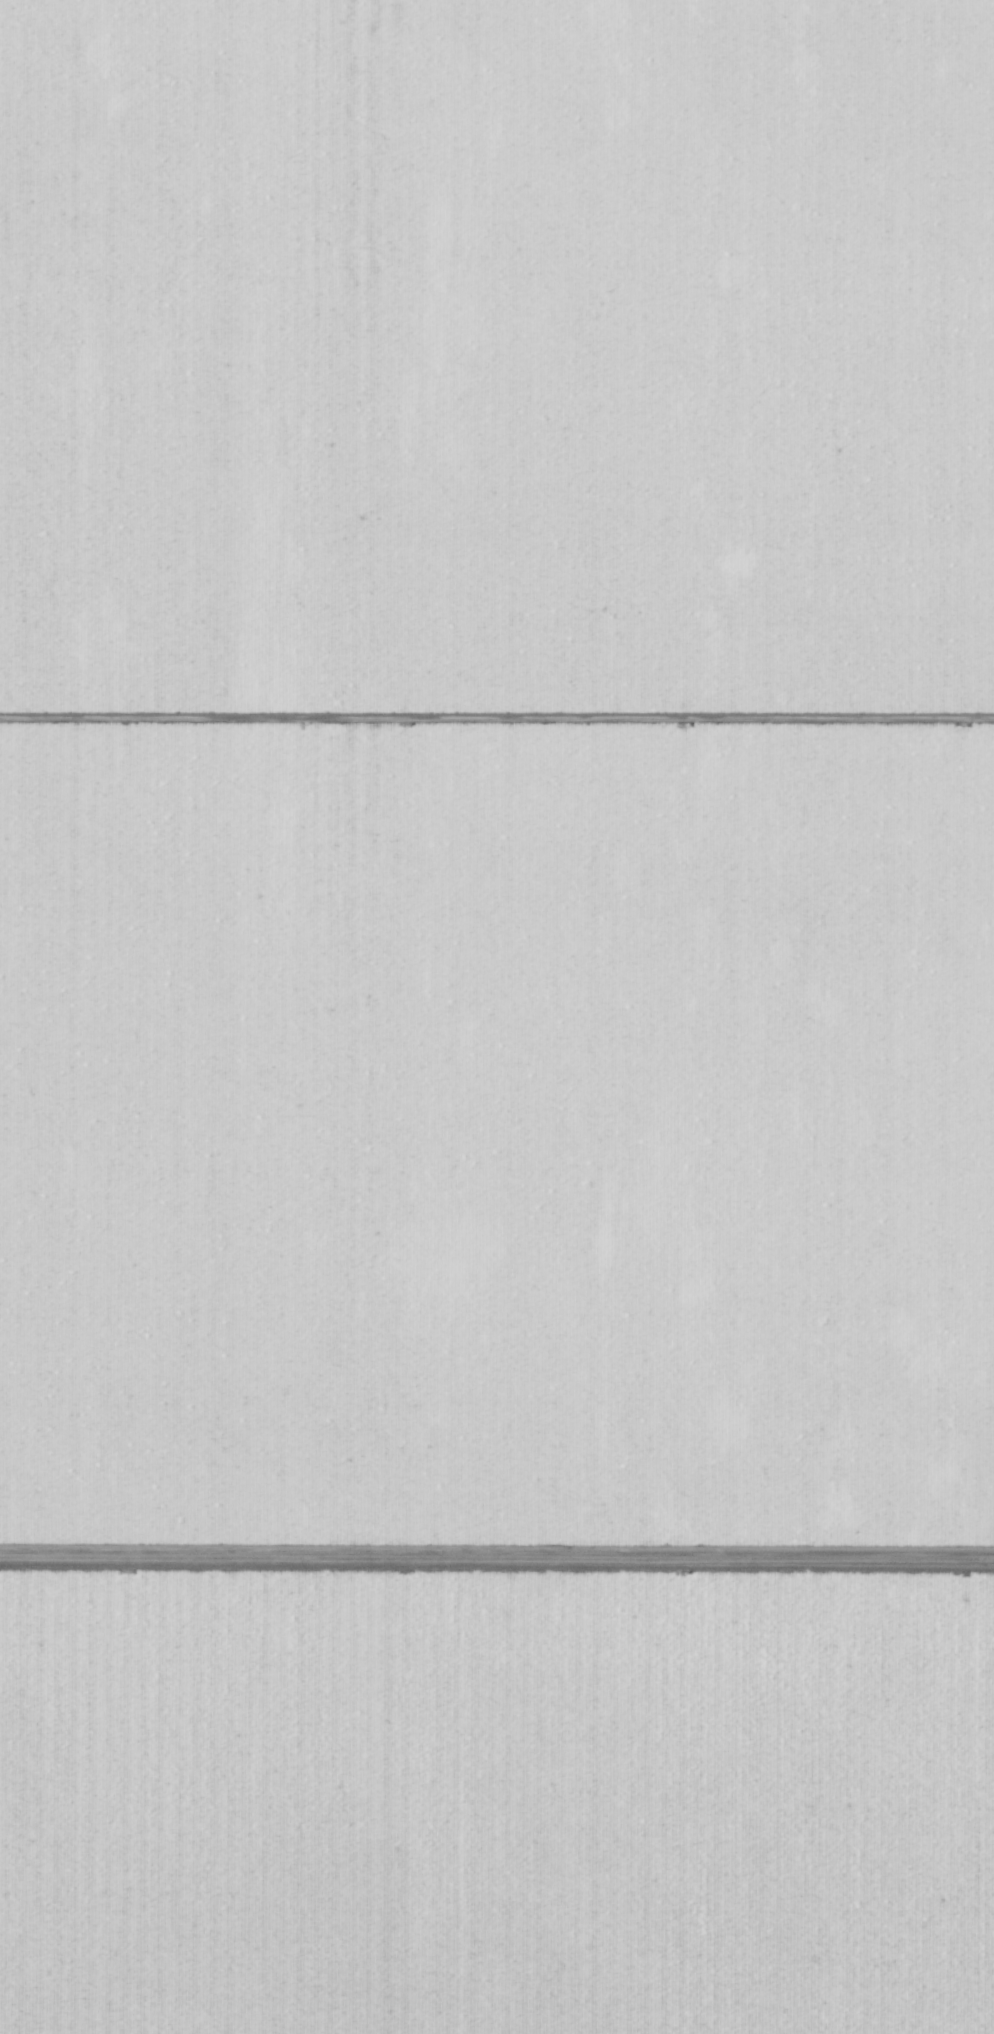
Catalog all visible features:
crop: (497, 782)
crop: (495, 1799)

